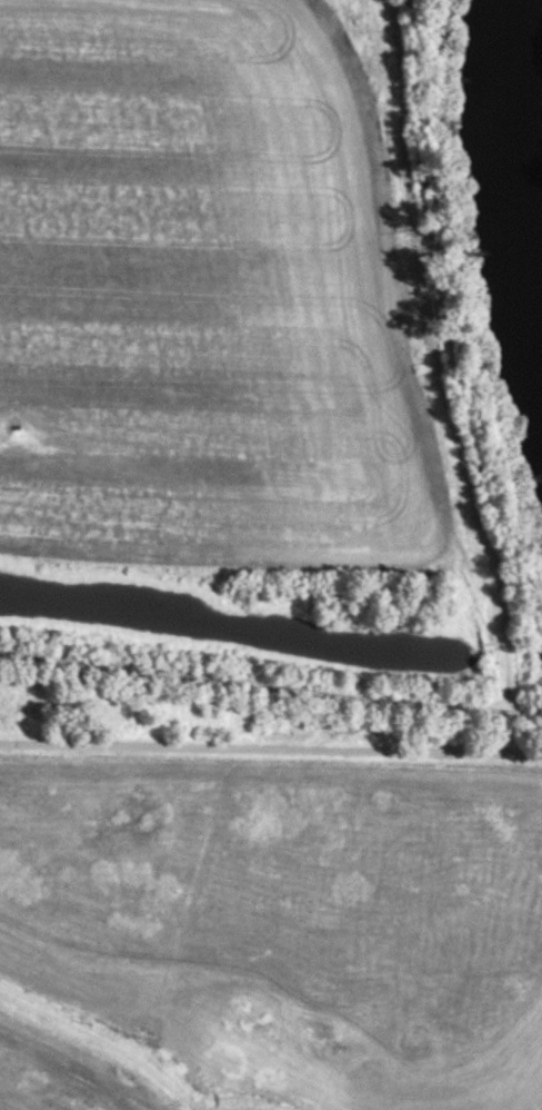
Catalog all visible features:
road: (191, 744)
road: (461, 752)

